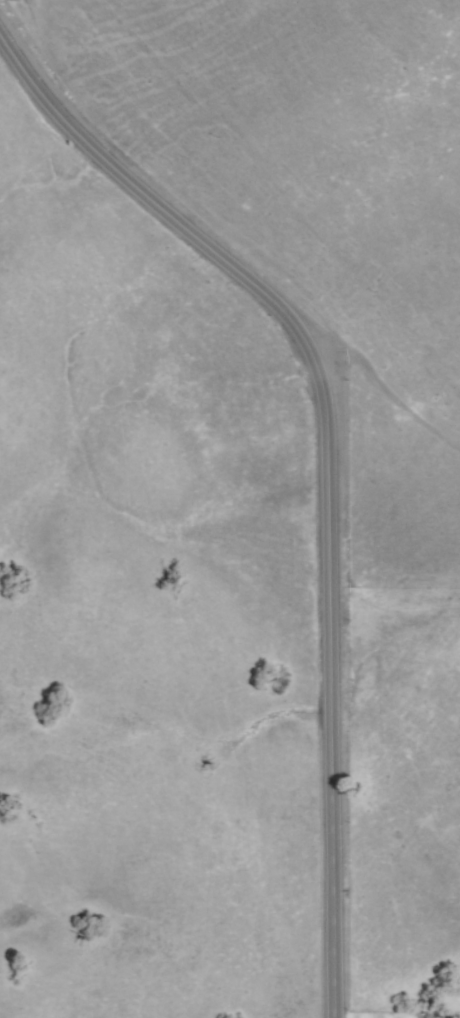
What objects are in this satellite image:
road: (387, 382)
road: (328, 465)
crop: (229, 507)
road: (396, 585)

